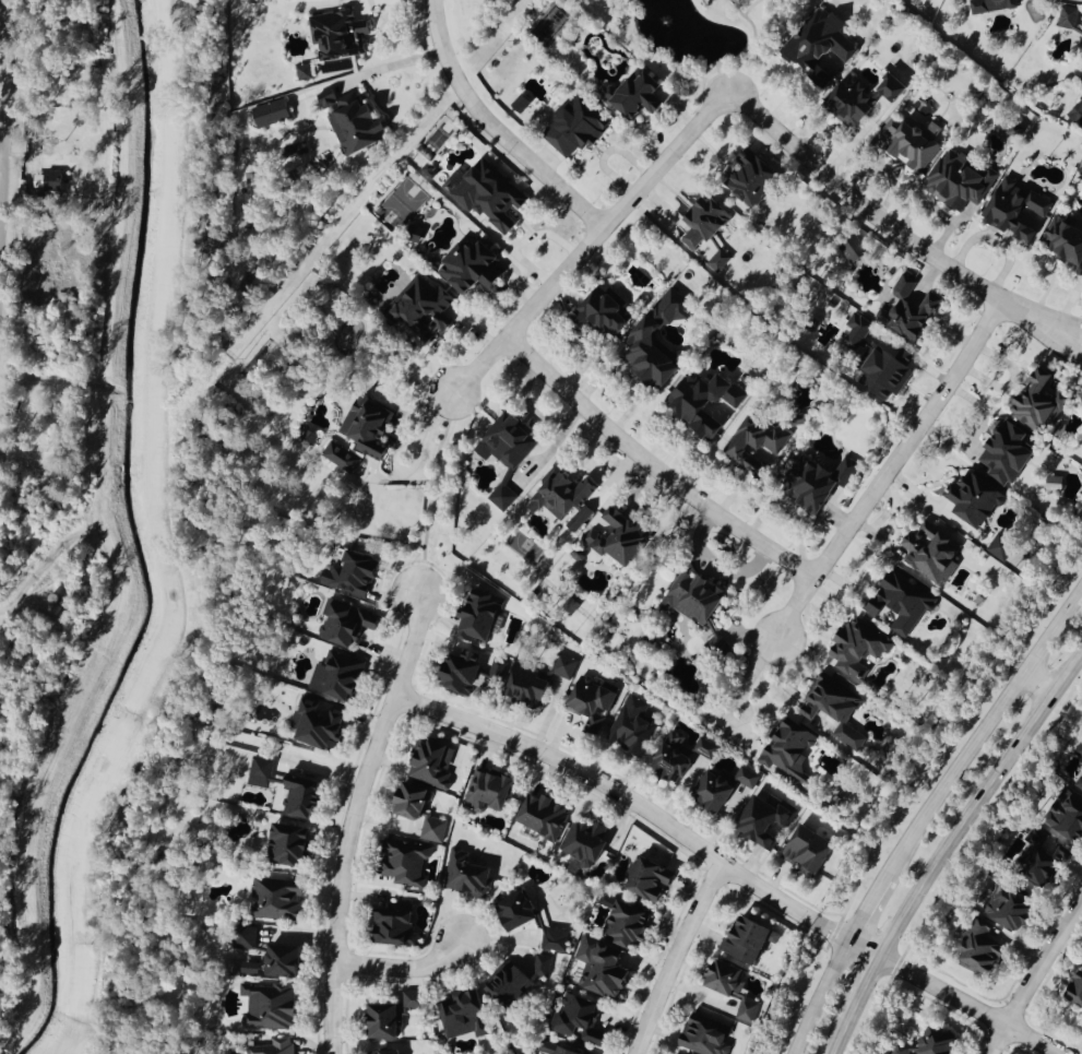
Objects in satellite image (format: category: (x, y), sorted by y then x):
building: (987, 7)
building: (1069, 22)
building: (342, 35)
park: (698, 36)
building: (813, 47)
building: (307, 72)
building: (640, 95)
building: (855, 98)
road: (4, 102)
building: (1073, 112)
building: (275, 114)
building: (356, 120)
building: (576, 128)
road: (494, 129)
building: (903, 145)
road: (1, 158)
building: (750, 180)
building: (56, 181)
building: (958, 183)
building: (492, 197)
building: (1011, 212)
road: (875, 218)
building: (708, 223)
building: (419, 230)
road: (591, 244)
building: (720, 262)
building: (476, 267)
building: (425, 305)
building: (905, 309)
building: (605, 312)
road: (1059, 328)
building: (853, 331)
building: (651, 333)
road: (1058, 344)
building: (879, 375)
building: (710, 402)
building: (1032, 404)
building: (371, 428)
building: (309, 437)
building: (510, 441)
building: (753, 447)
road: (414, 452)
building: (999, 453)
building: (340, 458)
road: (651, 469)
road: (887, 471)
building: (811, 483)
building: (504, 498)
building: (567, 499)
building: (968, 501)
building: (622, 537)
park: (523, 547)
building: (996, 550)
building: (926, 554)
building: (356, 576)
building: (697, 599)
building: (895, 603)
building: (484, 617)
building: (348, 623)
building: (852, 649)
building: (564, 666)
building: (474, 668)
building: (341, 675)
road: (1039, 683)
building: (532, 686)
building: (594, 697)
road: (739, 699)
building: (839, 711)
building: (597, 721)
building: (323, 723)
building: (634, 725)
road: (982, 731)
building: (708, 748)
building: (792, 751)
building: (677, 757)
building: (436, 762)
building: (262, 771)
building: (748, 778)
building: (1077, 783)
building: (490, 790)
building: (717, 791)
building: (305, 798)
building: (416, 801)
road: (980, 804)
building: (546, 815)
road: (352, 818)
building: (1072, 819)
building: (768, 820)
building: (433, 829)
building: (590, 841)
building: (293, 843)
building: (811, 851)
building: (1049, 857)
building: (408, 862)
road: (727, 869)
building: (468, 875)
building: (647, 879)
building: (280, 899)
building: (1011, 904)
building: (522, 909)
road: (864, 909)
building: (399, 923)
building: (247, 937)
building: (557, 938)
building: (753, 939)
building: (985, 947)
building: (616, 949)
road: (674, 958)
building: (288, 960)
building: (545, 966)
building: (250, 968)
road: (403, 970)
road: (1035, 976)
building: (512, 983)
building: (737, 988)
road: (865, 988)
building: (1078, 992)
road: (818, 996)
building: (414, 1000)
building: (272, 1006)
building: (467, 1015)
building: (581, 1018)
building: (388, 1020)
building: (709, 1034)
road: (840, 1037)
building: (942, 1042)
building: (275, 1047)
building: (556, 1049)
building: (903, 1049)
building: (394, 1052)

